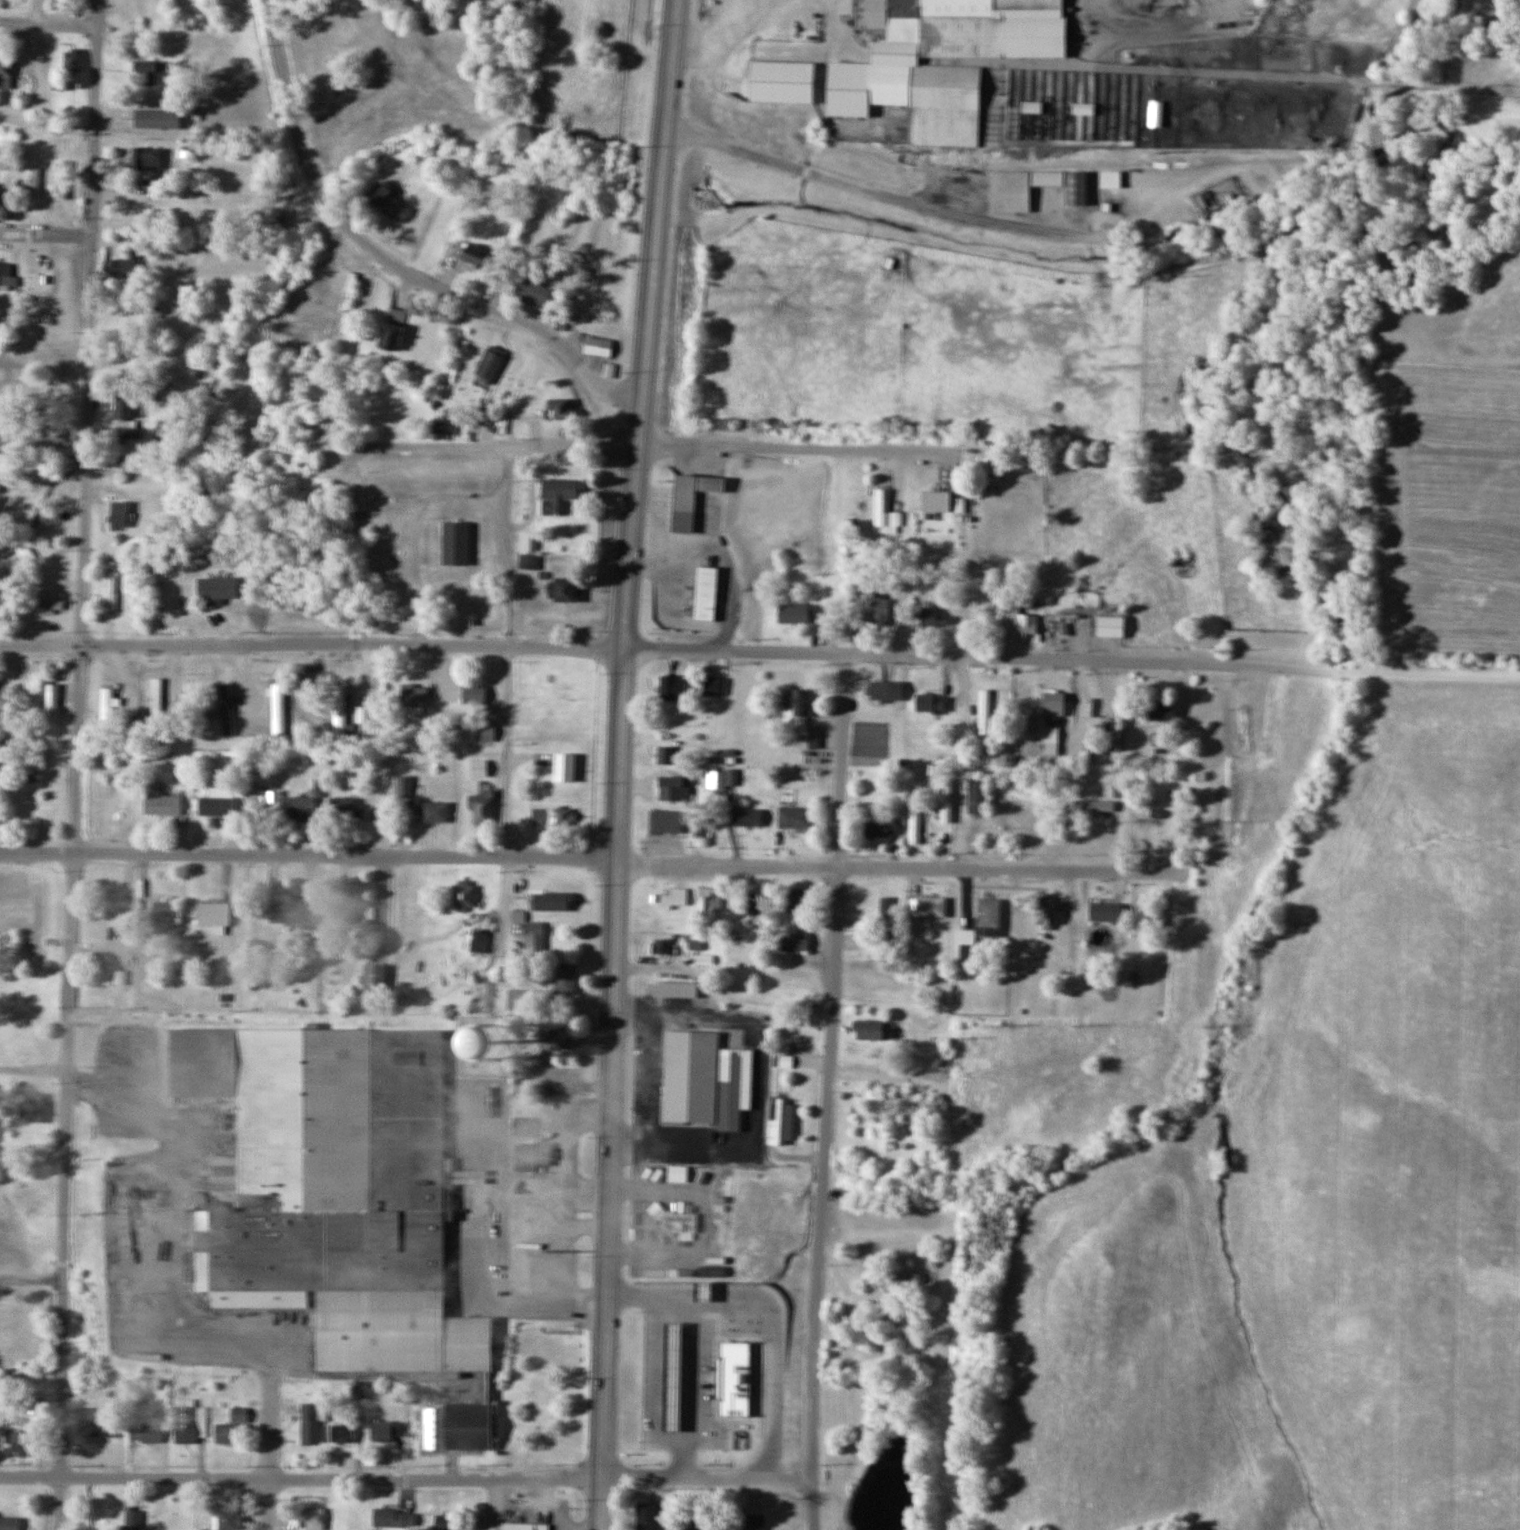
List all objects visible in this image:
road: (48, 23)
building: (971, 29)
building: (148, 71)
building: (5, 74)
road: (1361, 79)
building: (785, 80)
building: (907, 97)
building: (157, 119)
building: (146, 158)
building: (1110, 178)
building: (33, 182)
building: (1076, 187)
building: (1009, 191)
building: (386, 202)
road: (47, 231)
building: (474, 255)
road: (383, 260)
building: (124, 264)
building: (7, 274)
building: (347, 292)
building: (537, 294)
building: (122, 321)
building: (273, 330)
building: (392, 330)
building: (296, 337)
building: (320, 340)
building: (597, 347)
building: (489, 364)
building: (609, 370)
building: (123, 403)
building: (560, 409)
building: (302, 423)
building: (130, 431)
road: (44, 438)
road: (650, 439)
building: (307, 462)
building: (558, 495)
building: (691, 498)
building: (937, 500)
building: (885, 514)
building: (119, 515)
building: (529, 540)
building: (456, 544)
building: (528, 561)
building: (218, 586)
building: (111, 588)
building: (566, 590)
building: (707, 592)
building: (45, 604)
building: (881, 610)
building: (1061, 613)
building: (797, 614)
building: (930, 614)
building: (1022, 622)
building: (1113, 626)
road: (40, 644)
road: (800, 649)
building: (714, 686)
building: (672, 687)
building: (880, 692)
building: (474, 695)
building: (414, 696)
building: (156, 699)
building: (992, 701)
building: (932, 703)
building: (1054, 703)
building: (796, 704)
building: (106, 707)
building: (50, 709)
building: (225, 710)
building: (277, 710)
building: (1160, 710)
building: (338, 712)
building: (1121, 725)
building: (1244, 728)
building: (485, 732)
building: (1050, 735)
building: (809, 738)
building: (1160, 739)
building: (666, 755)
road: (617, 763)
road: (76, 764)
building: (566, 768)
building: (479, 769)
building: (717, 780)
building: (404, 787)
building: (675, 788)
building: (978, 796)
building: (946, 801)
building: (217, 802)
building: (261, 802)
building: (162, 803)
building: (1163, 806)
building: (300, 808)
building: (917, 808)
building: (1093, 808)
building: (482, 809)
building: (341, 810)
building: (434, 811)
building: (747, 815)
building: (552, 817)
building: (795, 818)
building: (667, 821)
building: (881, 828)
road: (37, 852)
road: (345, 855)
road: (901, 865)
building: (464, 893)
building: (675, 896)
building: (799, 898)
building: (710, 900)
building: (554, 901)
building: (755, 905)
building: (932, 907)
building: (165, 911)
building: (213, 912)
building: (292, 912)
building: (1046, 912)
building: (1106, 912)
building: (351, 914)
building: (883, 916)
building: (989, 917)
building: (111, 920)
building: (535, 937)
building: (481, 942)
building: (794, 942)
building: (661, 945)
building: (967, 946)
building: (104, 974)
building: (565, 977)
building: (375, 978)
building: (793, 987)
building: (677, 989)
building: (518, 999)
building: (870, 1028)
building: (559, 1035)
building: (487, 1038)
water tower: (484, 1041)
road: (35, 1069)
building: (707, 1076)
road: (830, 1090)
building: (928, 1106)
building: (36, 1107)
building: (785, 1123)
building: (522, 1125)
building: (532, 1155)
building: (337, 1191)
building: (680, 1226)
building: (893, 1279)
road: (31, 1280)
building: (713, 1295)
building: (665, 1314)
road: (240, 1331)
building: (848, 1348)
building: (680, 1379)
gas station: (680, 1379)
building: (36, 1405)
building: (699, 1411)
building: (652, 1412)
building: (239, 1413)
building: (94, 1414)
building: (310, 1422)
building: (190, 1423)
building: (145, 1428)
building: (384, 1429)
building: (97, 1432)
building: (342, 1432)
building: (227, 1433)
building: (22, 1442)
road: (270, 1451)
road: (407, 1478)
building: (647, 1516)
building: (307, 1518)
building: (130, 1519)
building: (394, 1519)
building: (230, 1520)
building: (755, 1521)
building: (444, 1522)
building: (8, 1523)
building: (526, 1526)
building: (674, 1527)

